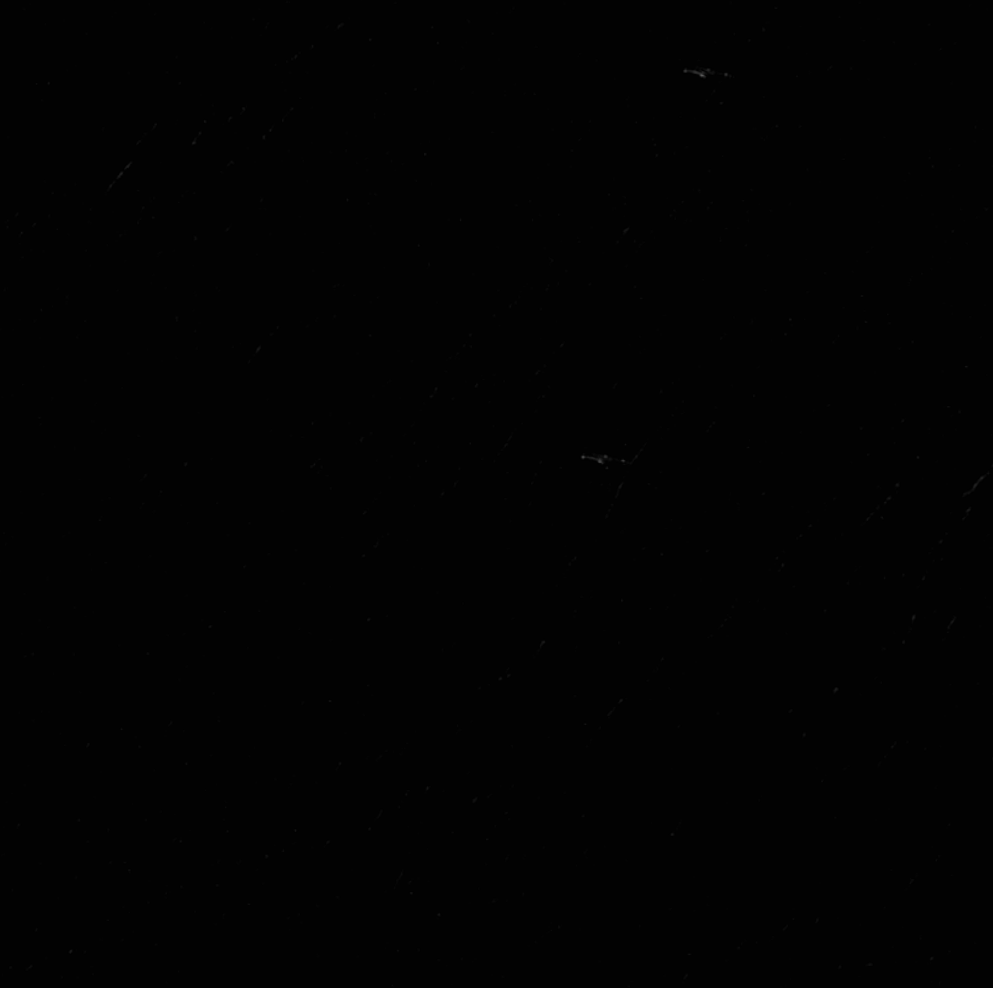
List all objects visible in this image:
power tower: (686, 82)
power tower: (581, 456)

